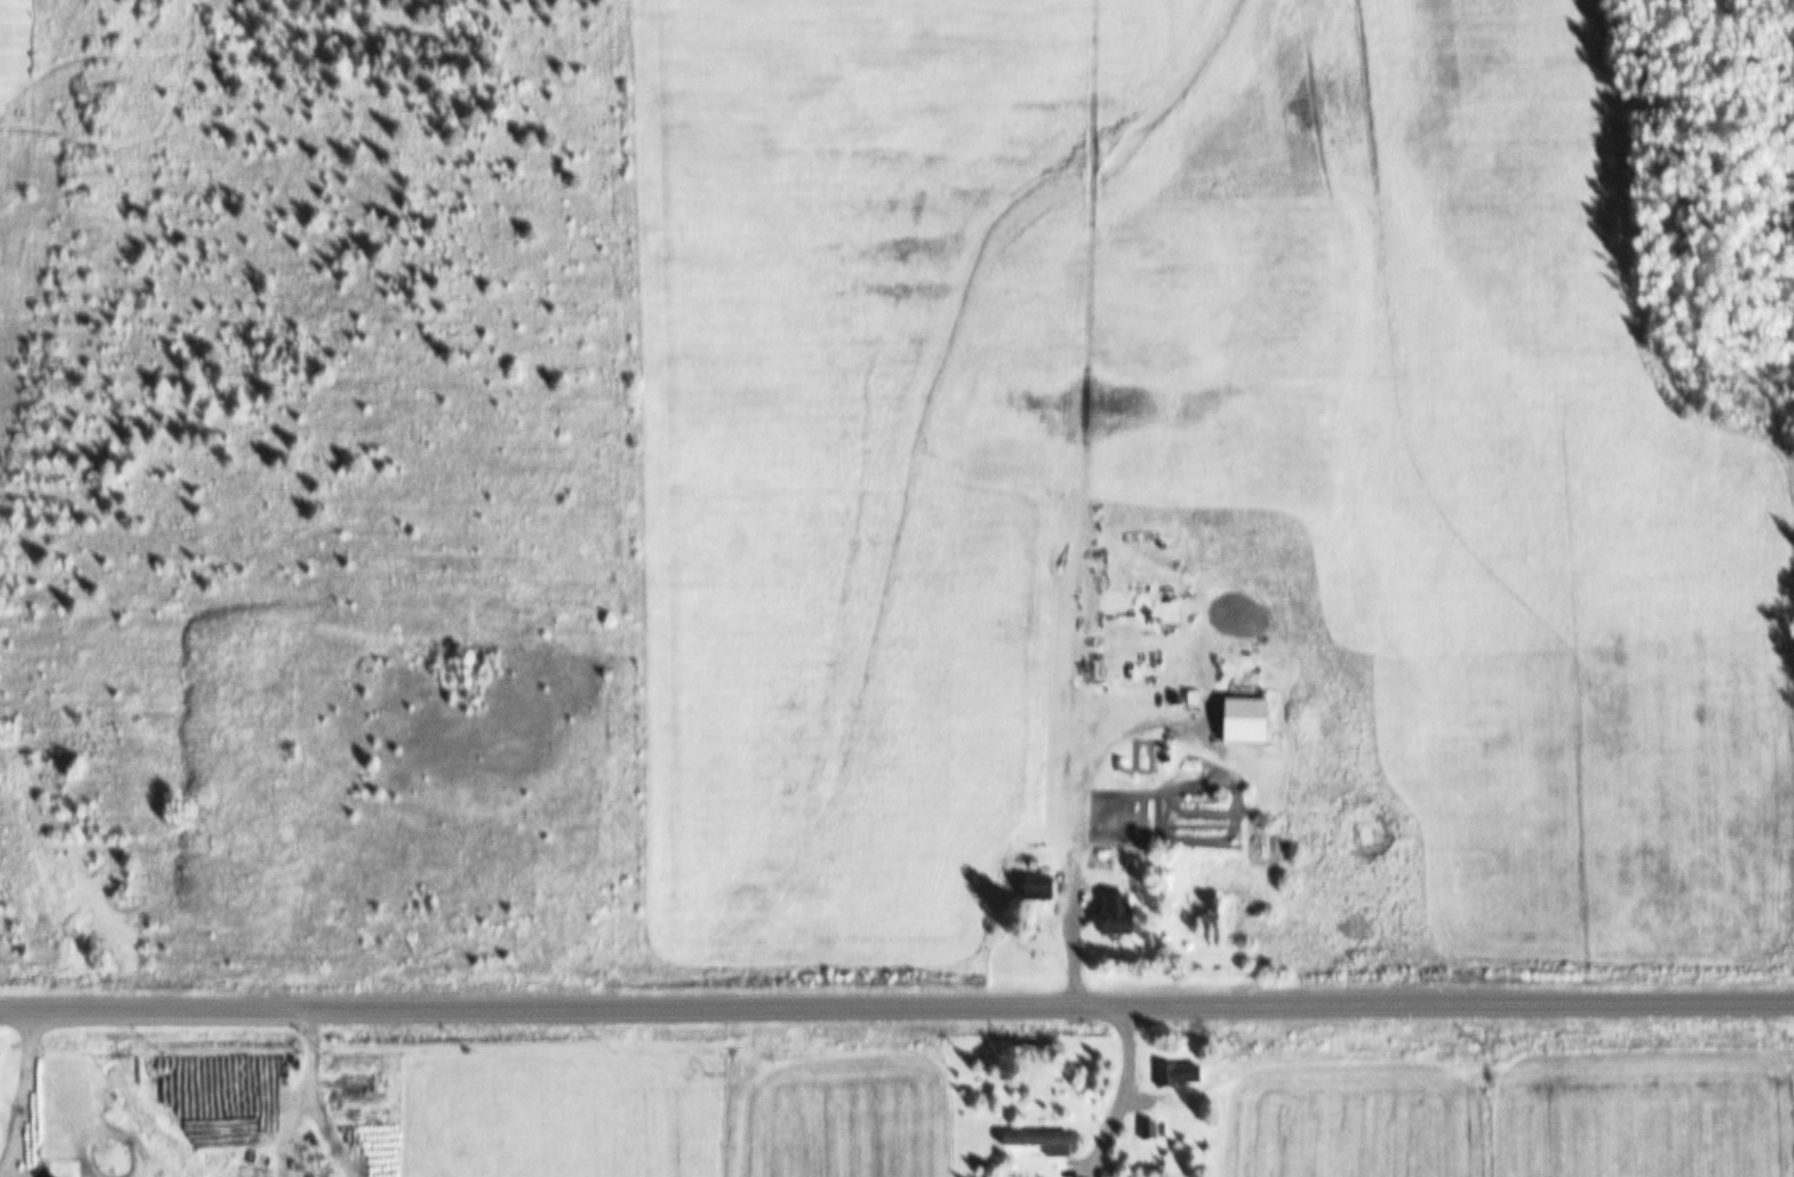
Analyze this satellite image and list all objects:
building: (1256, 720)
building: (1044, 888)
building: (1126, 915)
road: (897, 1005)
building: (1187, 1074)
building: (1155, 1130)
building: (1048, 1142)

